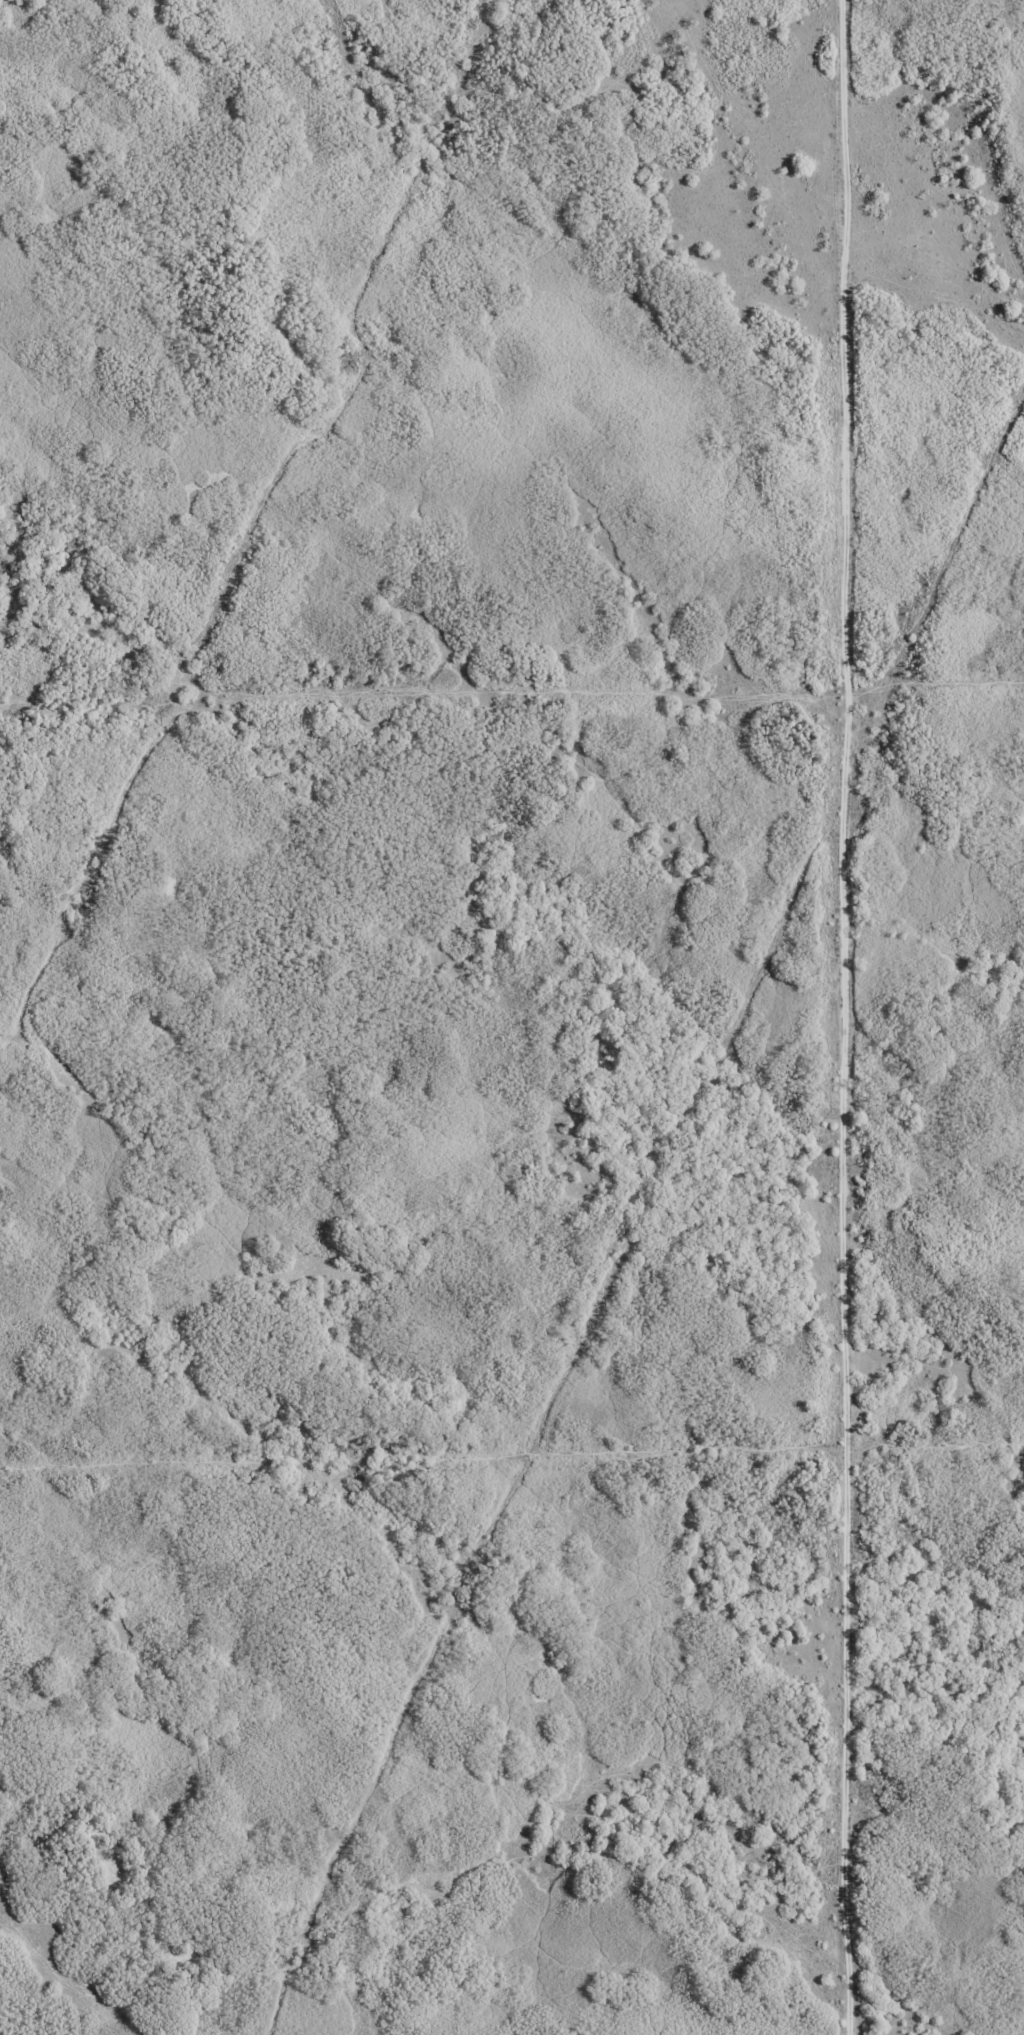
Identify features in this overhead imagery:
road: (843, 1017)

